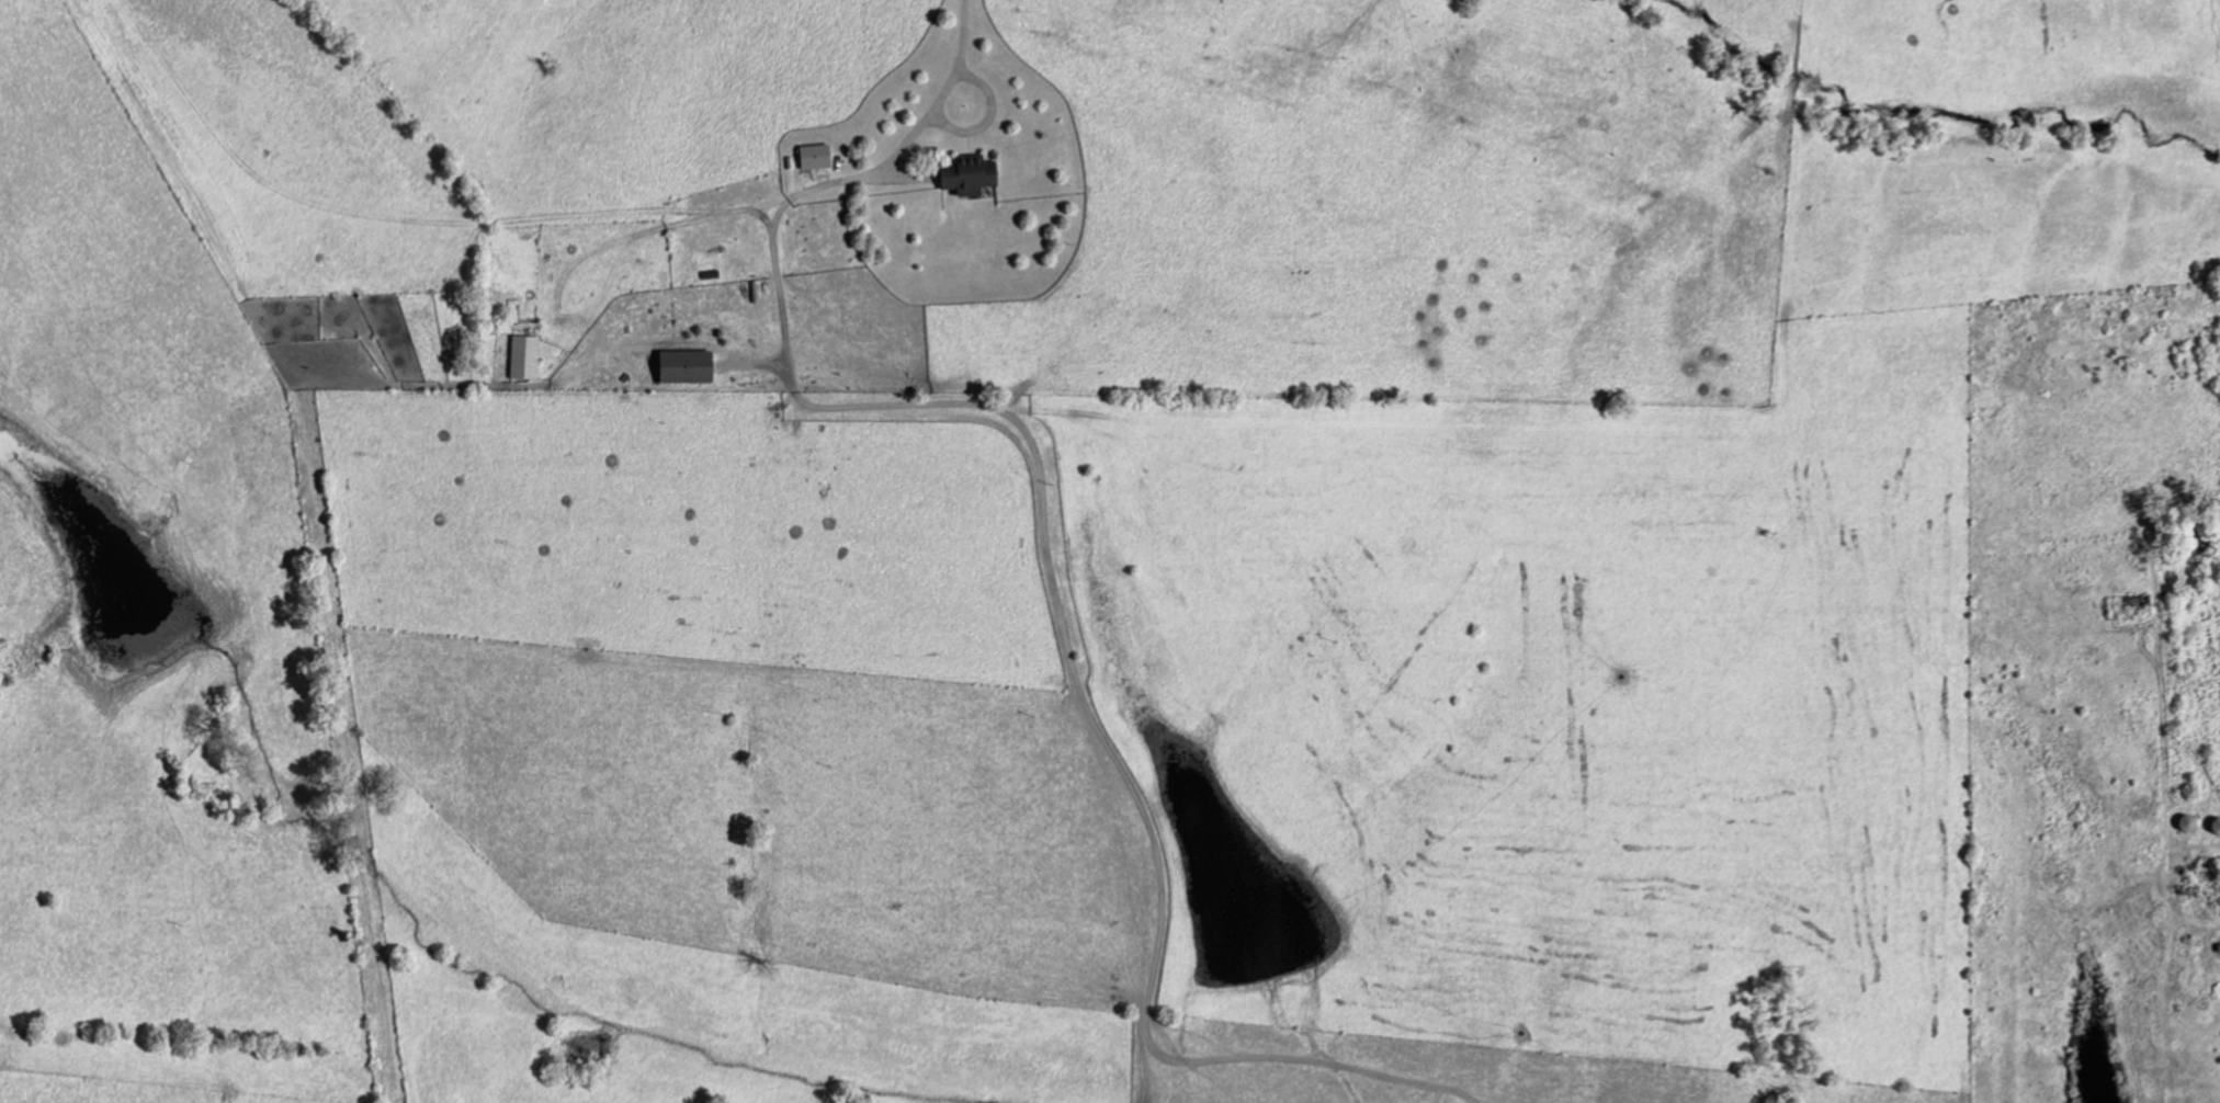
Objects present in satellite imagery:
road: (939, 100)
road: (987, 118)
building: (808, 156)
building: (962, 177)
building: (520, 355)
building: (676, 364)

